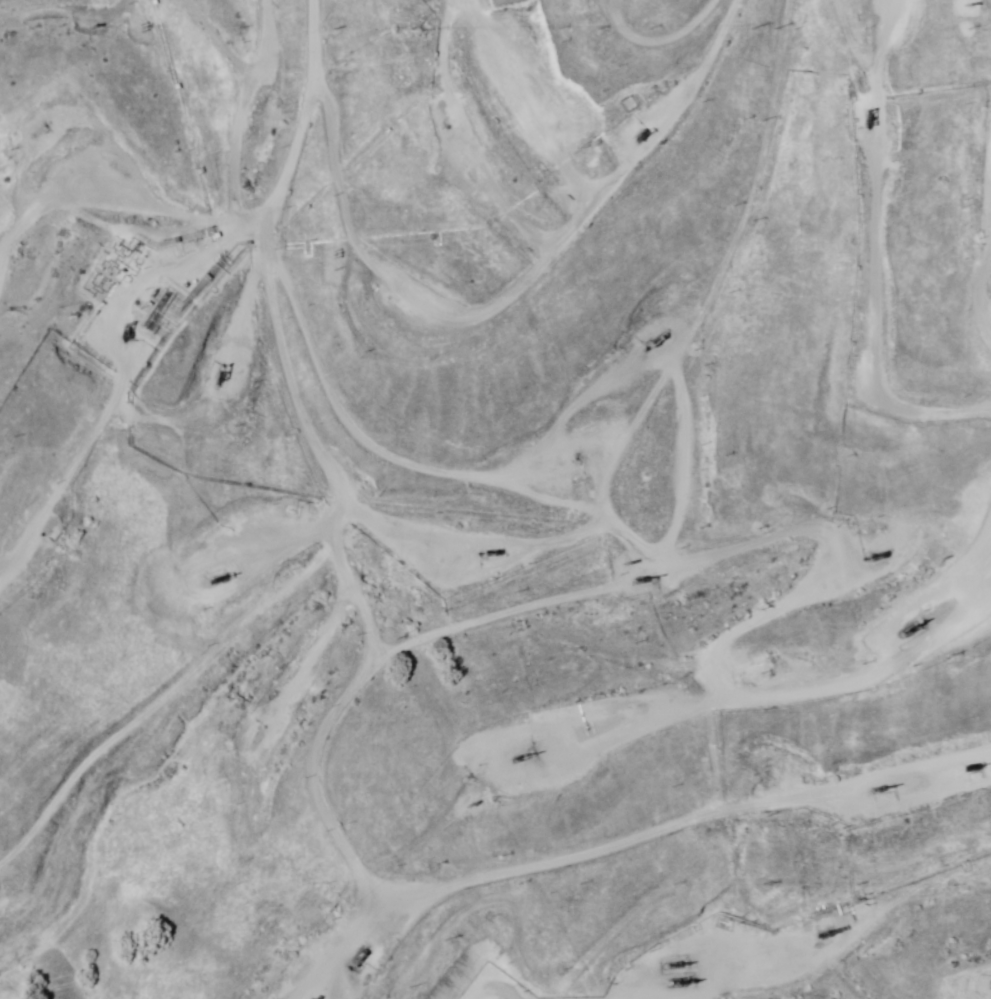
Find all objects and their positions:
road: (583, 1)
road: (252, 13)
road: (620, 24)
road: (955, 92)
road: (584, 138)
road: (980, 175)
road: (193, 183)
road: (868, 240)
road: (442, 297)
road: (122, 300)
road: (982, 315)
road: (50, 376)
road: (272, 394)
road: (278, 487)
road: (232, 576)
road: (491, 608)
road: (647, 845)

